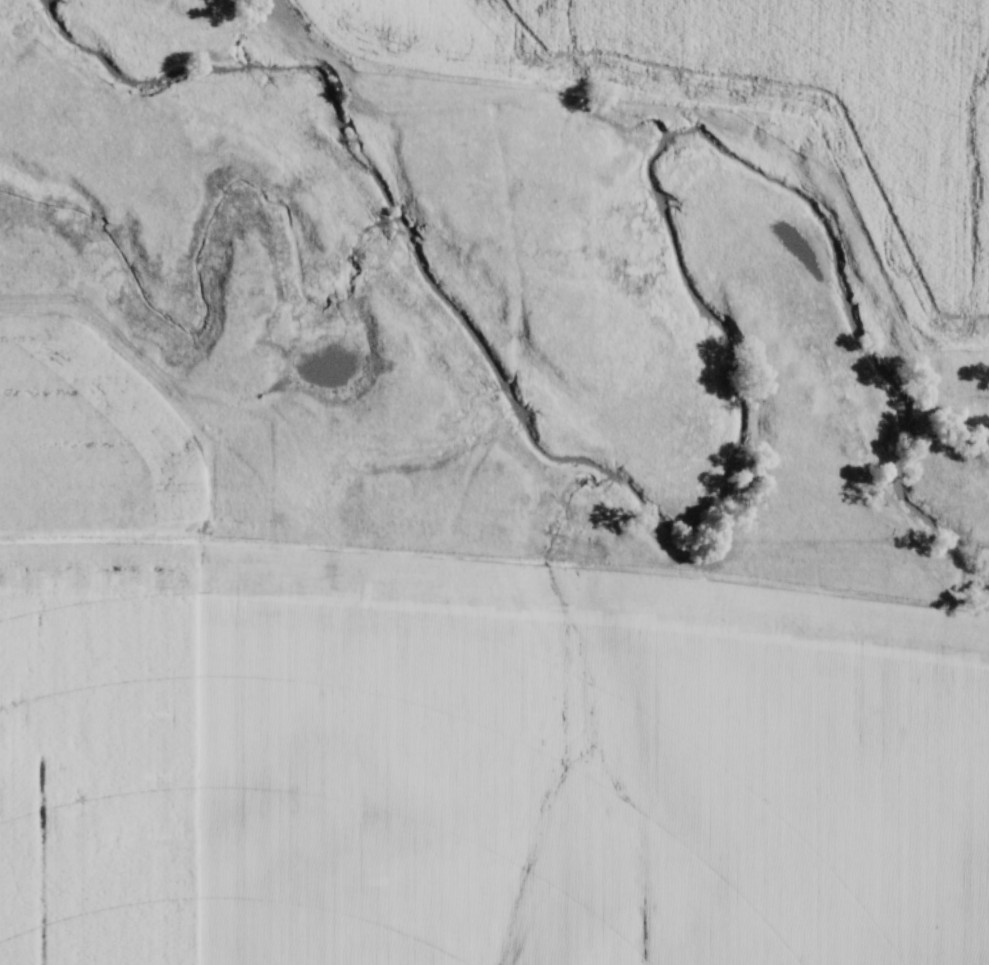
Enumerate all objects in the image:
river: (716, 501)

